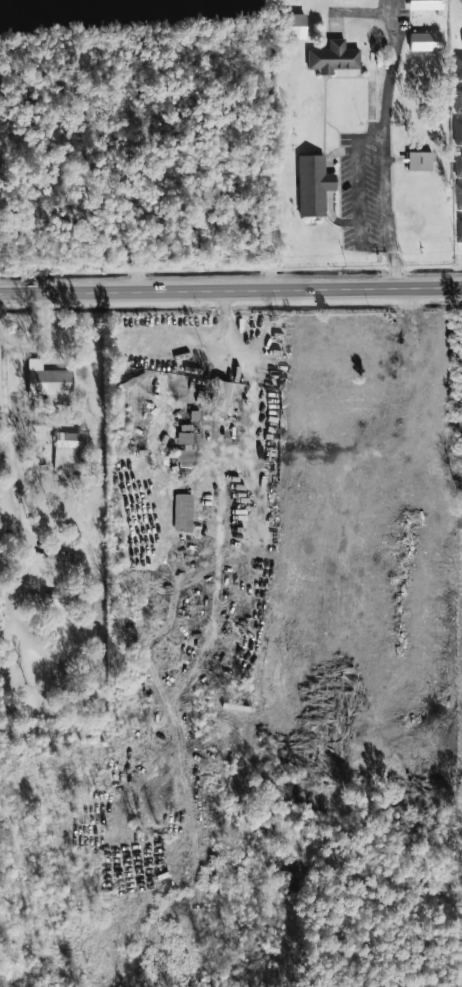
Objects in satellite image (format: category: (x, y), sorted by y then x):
building: (423, 4)
building: (293, 27)
building: (424, 41)
building: (333, 57)
building: (457, 67)
building: (457, 99)
building: (458, 132)
building: (419, 161)
building: (458, 164)
road: (380, 165)
building: (313, 185)
building: (458, 197)
building: (458, 229)
road: (231, 291)
road: (42, 341)
building: (48, 380)
building: (218, 399)
road: (249, 437)
building: (67, 451)
road: (9, 461)
building: (183, 512)
building: (58, 557)

